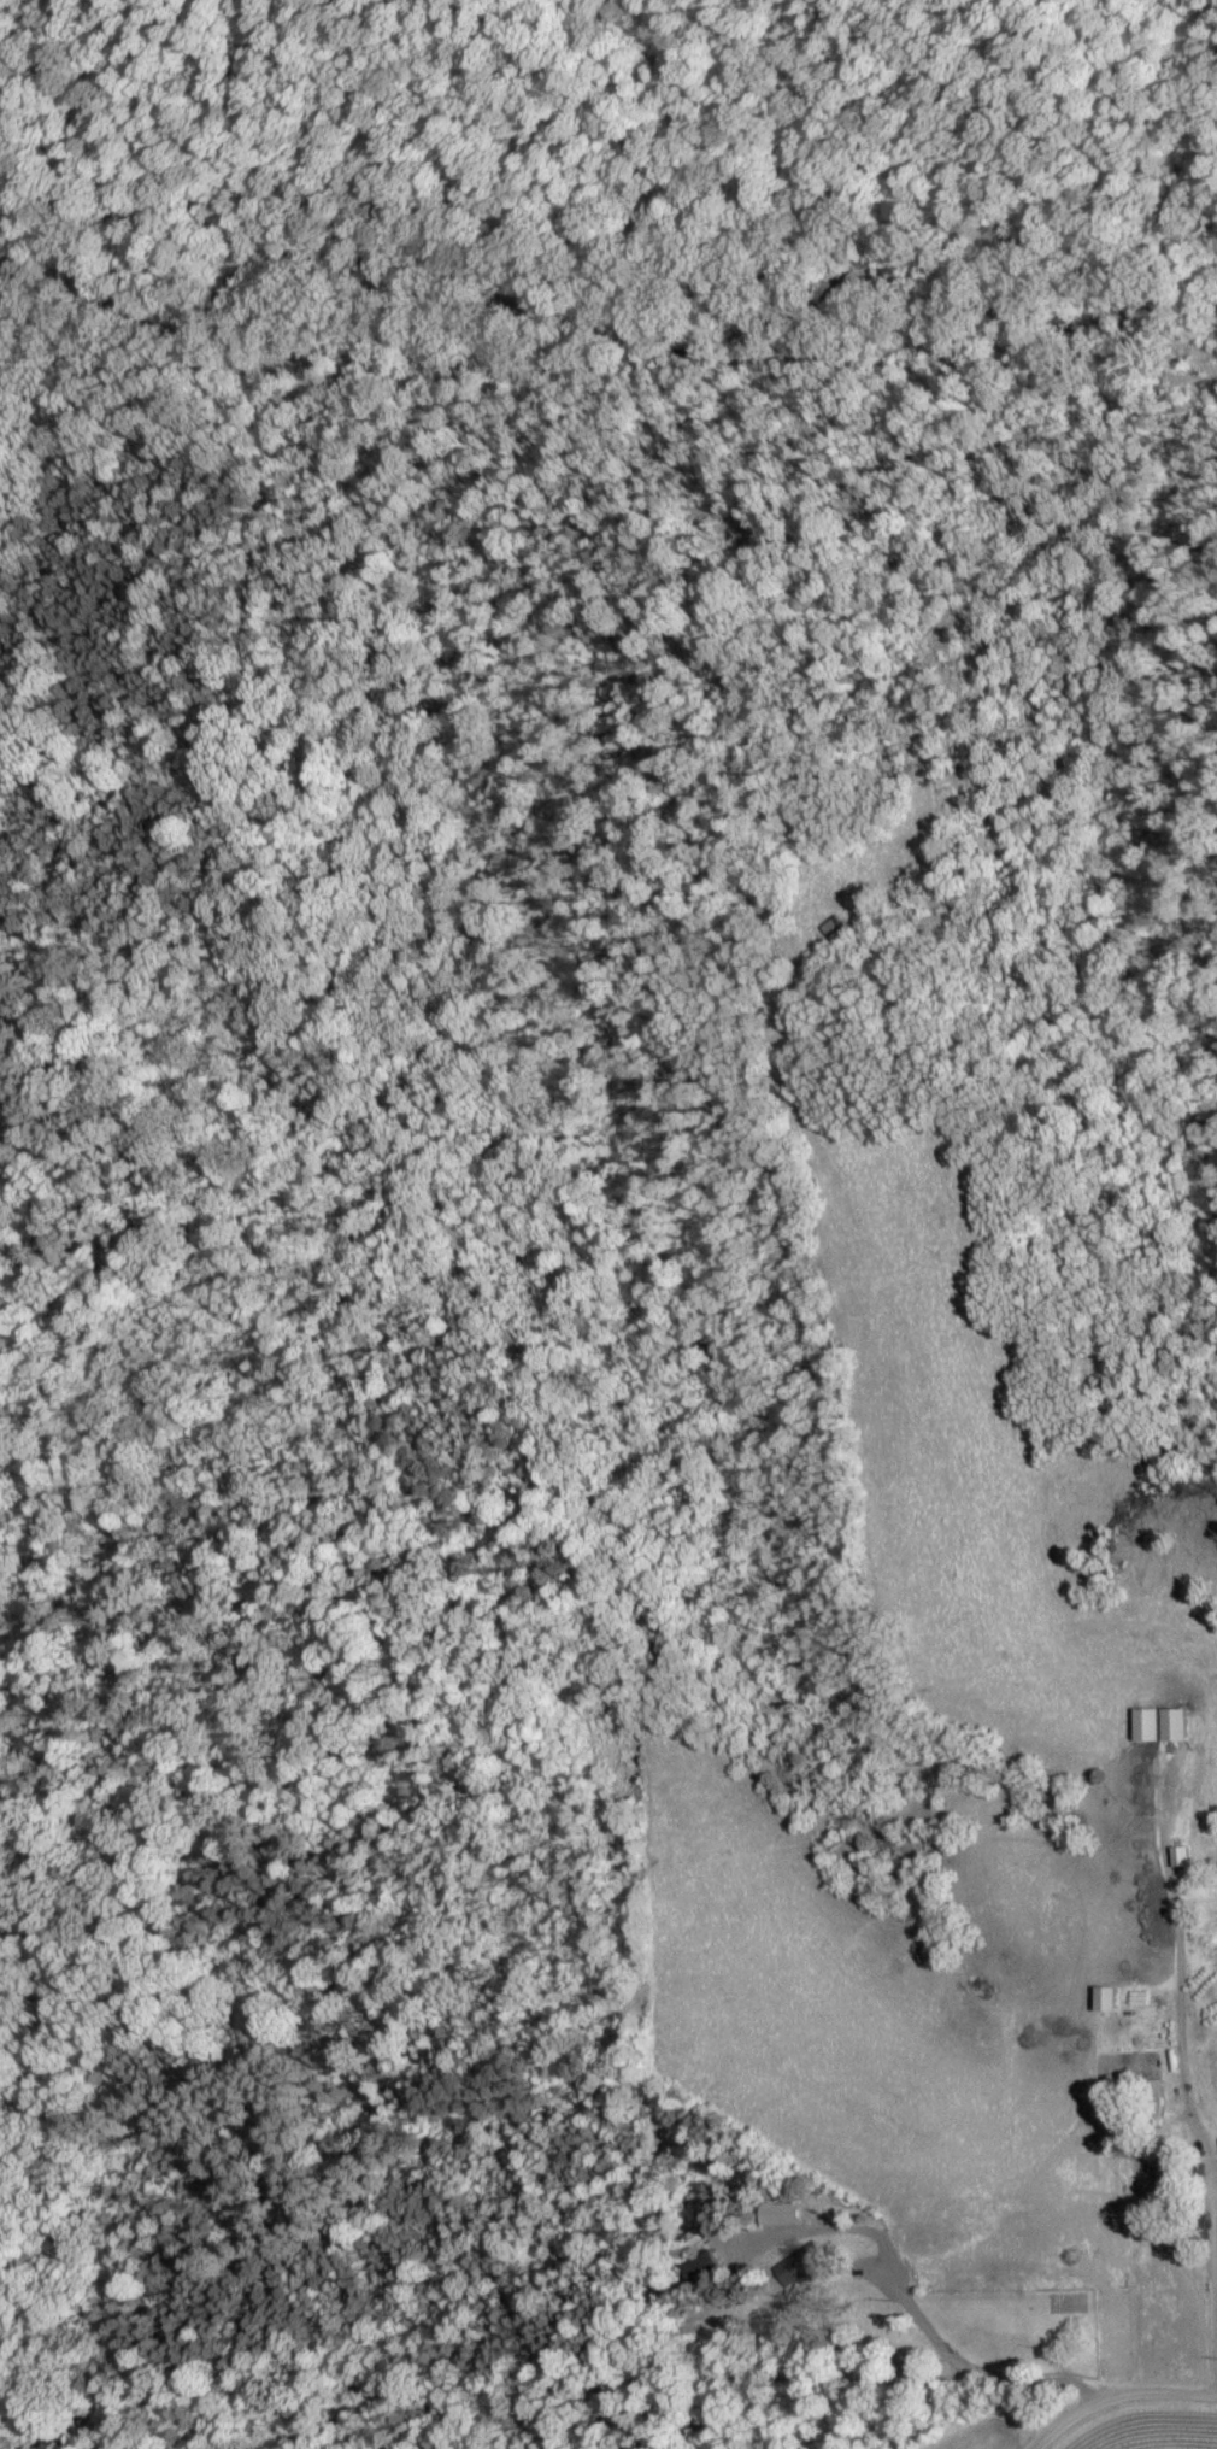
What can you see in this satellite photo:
building: (1148, 1726)
building: (1176, 1726)
building: (1106, 2001)
road: (1204, 2139)
building: (780, 2215)
building: (799, 2267)
building: (704, 2269)
road: (1115, 2395)

